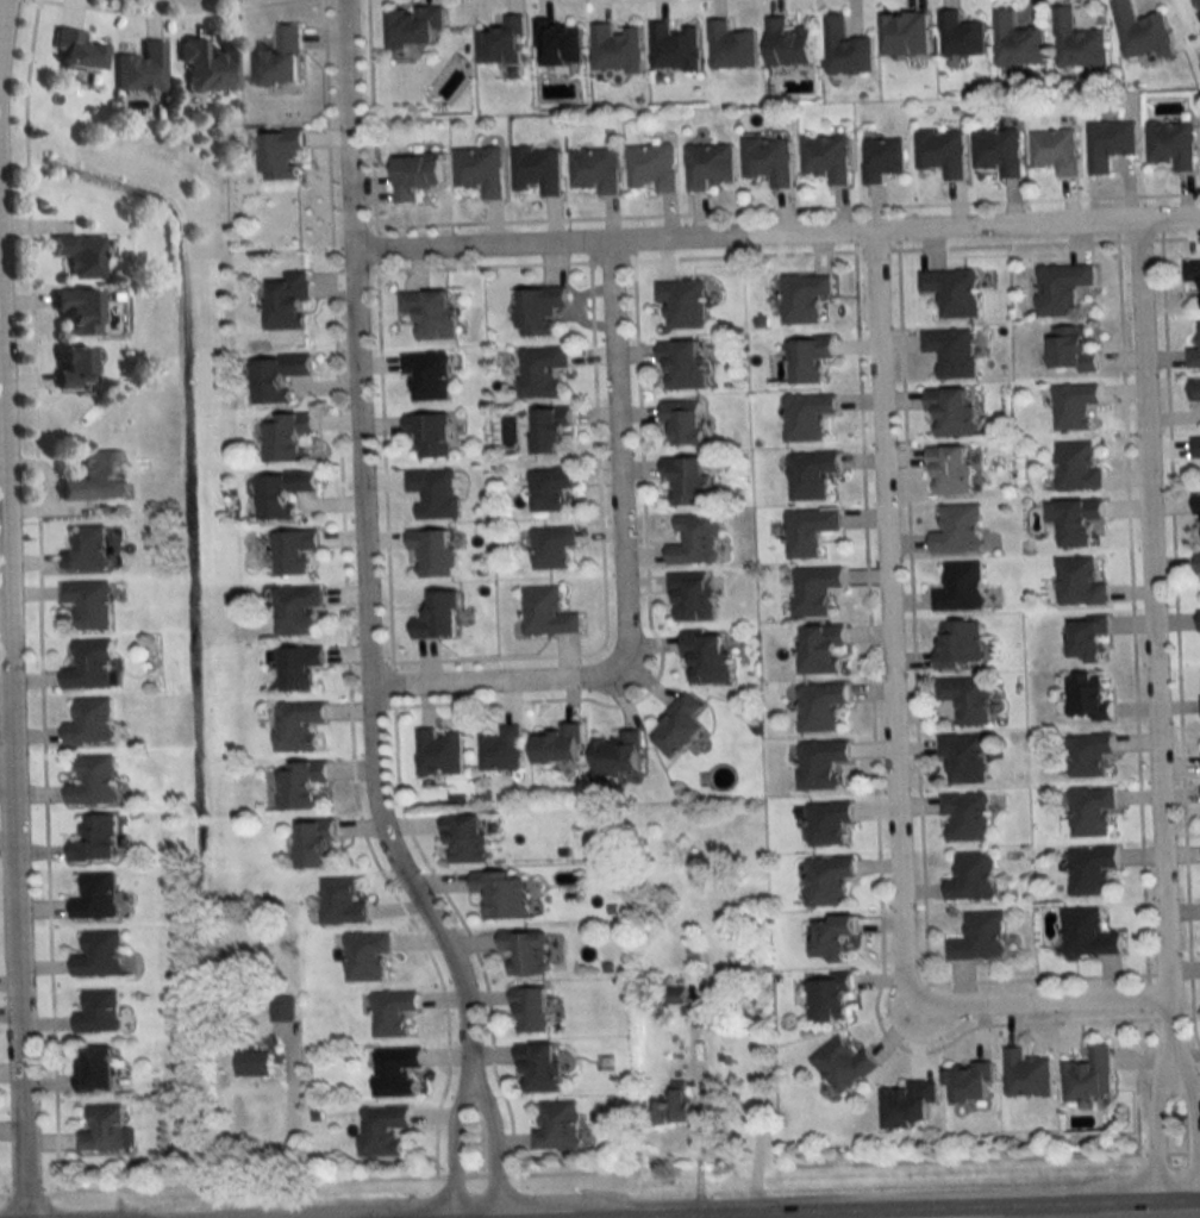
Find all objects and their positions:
road: (1, 10)
road: (161, 14)
building: (412, 27)
building: (1140, 32)
building: (904, 35)
building: (961, 36)
building: (1017, 42)
building: (1077, 42)
building: (501, 43)
building: (558, 43)
building: (786, 43)
building: (730, 46)
building: (615, 48)
building: (673, 48)
building: (844, 49)
building: (74, 51)
building: (277, 60)
building: (138, 68)
building: (205, 68)
road: (369, 117)
building: (1110, 144)
building: (1171, 144)
building: (940, 151)
building: (998, 151)
building: (1055, 151)
building: (280, 154)
building: (825, 158)
building: (881, 158)
building: (768, 160)
building: (707, 164)
building: (651, 167)
building: (594, 169)
building: (479, 170)
building: (535, 170)
building: (415, 175)
road: (782, 208)
road: (776, 232)
road: (1175, 237)
road: (1137, 239)
road: (1005, 243)
road: (375, 246)
road: (873, 249)
building: (76, 254)
road: (740, 254)
road: (608, 260)
road: (482, 264)
building: (1190, 271)
building: (1061, 288)
building: (952, 292)
building: (801, 298)
building: (287, 302)
building: (681, 302)
building: (537, 311)
building: (73, 313)
building: (430, 313)
building: (1071, 350)
building: (951, 352)
building: (1194, 354)
building: (807, 360)
building: (681, 366)
building: (69, 368)
building: (540, 371)
building: (426, 376)
building: (275, 377)
building: (1194, 389)
building: (1074, 407)
building: (950, 412)
building: (805, 417)
building: (682, 421)
building: (549, 431)
building: (429, 435)
building: (286, 436)
building: (1195, 449)
road: (383, 464)
building: (1076, 468)
building: (949, 470)
road: (618, 471)
building: (810, 475)
building: (90, 480)
building: (683, 481)
building: (549, 489)
building: (281, 493)
building: (433, 493)
building: (1198, 517)
building: (1077, 521)
building: (957, 530)
building: (808, 531)
building: (693, 541)
building: (550, 548)
building: (85, 550)
building: (293, 551)
road: (364, 552)
building: (432, 552)
road: (600, 558)
building: (1196, 563)
building: (1080, 583)
building: (960, 588)
building: (813, 589)
road: (37, 594)
building: (689, 598)
road: (344, 599)
building: (88, 604)
road: (1152, 605)
road: (645, 606)
road: (1131, 606)
building: (295, 610)
building: (546, 613)
building: (438, 617)
building: (1199, 620)
road: (887, 635)
building: (1088, 639)
road: (1176, 639)
building: (958, 644)
building: (820, 650)
building: (705, 658)
building: (89, 667)
building: (298, 668)
road: (480, 679)
road: (392, 682)
building: (1087, 698)
building: (967, 700)
building: (819, 706)
building: (89, 723)
road: (914, 725)
building: (298, 726)
building: (677, 727)
building: (557, 745)
building: (501, 750)
building: (438, 752)
building: (1088, 755)
building: (617, 756)
building: (963, 758)
building: (820, 763)
road: (5, 776)
building: (92, 782)
road: (874, 782)
building: (300, 785)
building: (1090, 812)
building: (964, 818)
road: (10, 823)
building: (826, 823)
building: (464, 838)
building: (94, 839)
building: (312, 843)
building: (1090, 870)
building: (970, 877)
building: (826, 880)
building: (501, 894)
building: (95, 897)
building: (340, 902)
road: (464, 929)
building: (1087, 933)
building: (831, 936)
building: (979, 938)
building: (524, 951)
building: (98, 955)
building: (365, 956)
road: (1148, 995)
building: (827, 998)
road: (1052, 999)
building: (281, 1008)
building: (530, 1011)
building: (96, 1013)
building: (392, 1013)
road: (1170, 1017)
building: (252, 1064)
building: (842, 1066)
building: (538, 1068)
building: (94, 1069)
building: (395, 1072)
building: (1025, 1075)
building: (1088, 1078)
road: (1135, 1080)
building: (968, 1085)
road: (474, 1086)
building: (905, 1104)
building: (671, 1108)
road: (1190, 1119)
road: (1151, 1120)
building: (556, 1128)
building: (102, 1130)
building: (381, 1131)
road: (290, 1148)
road: (964, 1211)

